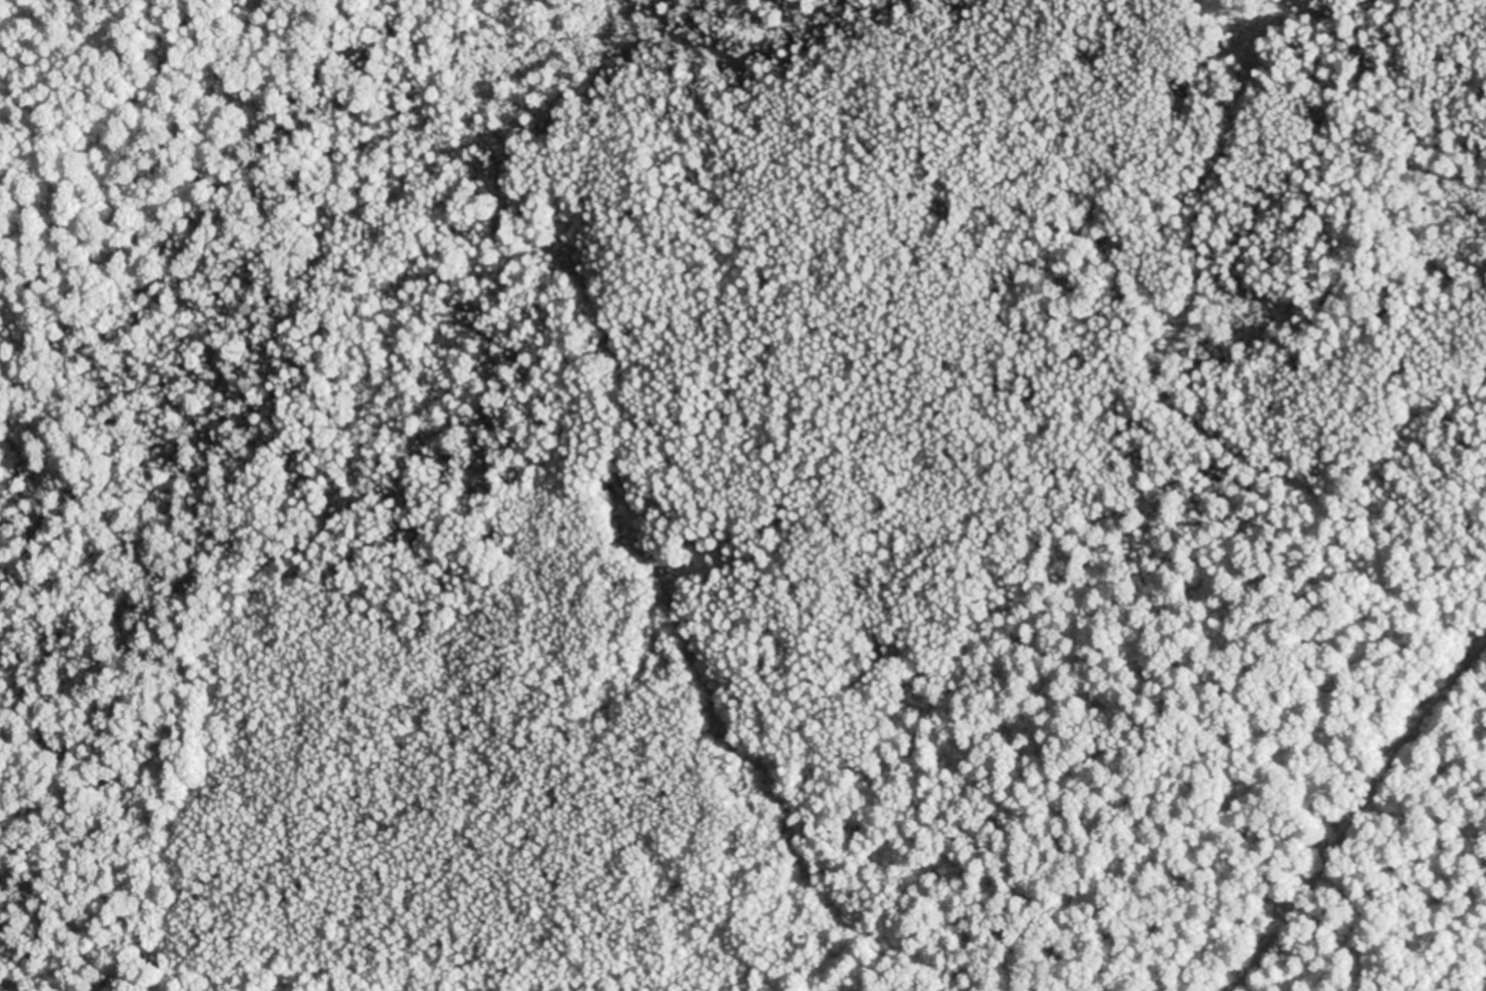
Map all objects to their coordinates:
road: (1348, 824)

